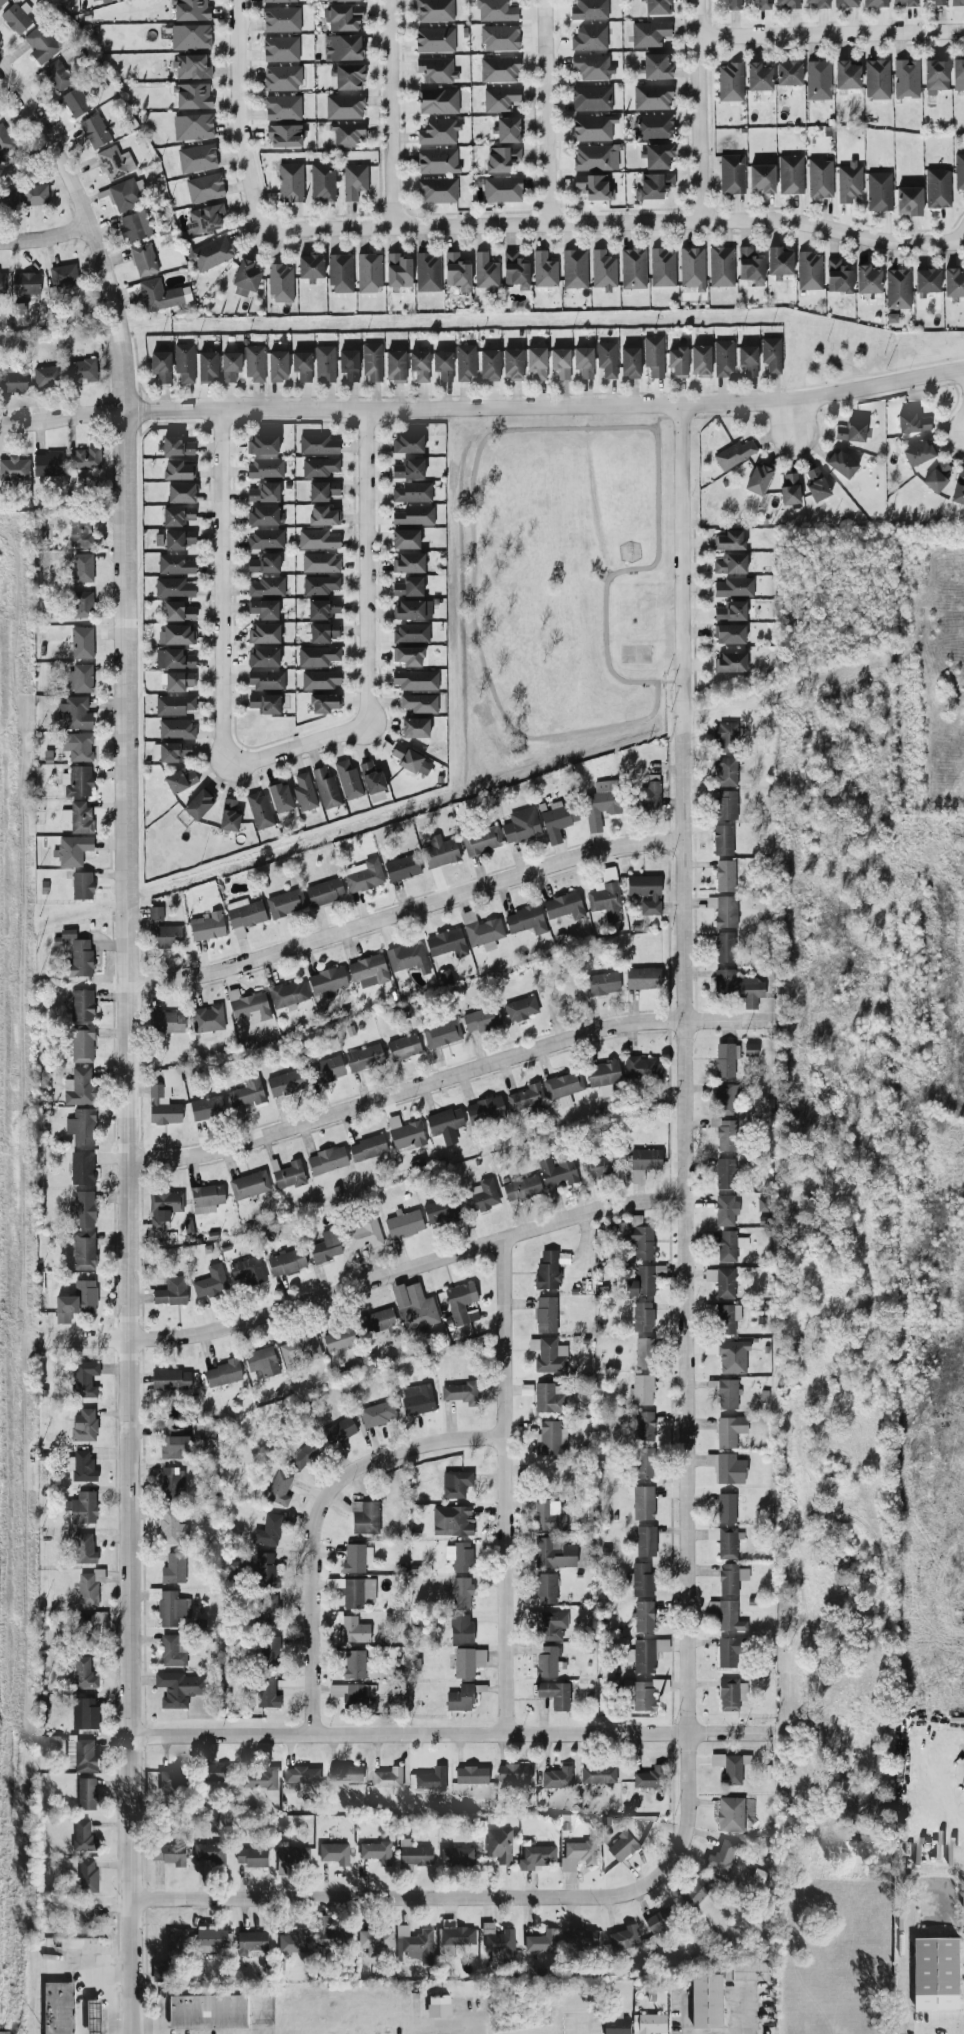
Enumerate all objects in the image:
building: (94, 0)
building: (342, 0)
building: (2, 1)
building: (279, 1)
building: (939, 2)
building: (957, 2)
building: (819, 3)
building: (845, 3)
building: (875, 3)
building: (904, 3)
building: (732, 4)
building: (762, 4)
building: (787, 4)
building: (657, 7)
building: (191, 10)
building: (434, 10)
building: (589, 10)
building: (496, 11)
building: (18, 17)
building: (343, 18)
building: (281, 19)
building: (649, 34)
road: (830, 35)
building: (190, 37)
building: (500, 38)
building: (590, 38)
building: (435, 40)
building: (41, 45)
building: (343, 48)
building: (280, 49)
building: (191, 67)
building: (592, 67)
building: (656, 67)
building: (499, 69)
building: (436, 70)
building: (788, 74)
building: (958, 74)
building: (846, 75)
building: (936, 75)
building: (57, 76)
building: (347, 76)
building: (758, 77)
building: (281, 78)
building: (877, 79)
building: (906, 79)
building: (818, 80)
building: (730, 82)
building: (193, 96)
building: (652, 97)
building: (591, 98)
building: (500, 99)
building: (437, 101)
building: (76, 102)
building: (282, 107)
building: (344, 107)
road: (698, 109)
road: (238, 113)
road: (553, 113)
road: (388, 114)
building: (193, 127)
building: (654, 127)
building: (593, 128)
building: (507, 130)
building: (94, 131)
building: (439, 132)
building: (347, 135)
building: (284, 136)
building: (5, 141)
building: (659, 156)
building: (197, 158)
building: (502, 158)
building: (595, 158)
building: (437, 161)
building: (114, 163)
building: (959, 172)
building: (732, 174)
building: (790, 175)
building: (761, 178)
building: (820, 178)
building: (354, 181)
building: (848, 181)
building: (322, 182)
building: (290, 183)
building: (594, 186)
building: (654, 186)
building: (204, 188)
building: (937, 188)
building: (502, 189)
building: (438, 190)
building: (879, 192)
building: (126, 194)
building: (34, 195)
building: (7, 198)
building: (908, 202)
building: (205, 219)
road: (614, 223)
building: (134, 227)
road: (45, 239)
building: (211, 253)
building: (143, 260)
building: (779, 262)
building: (750, 266)
building: (310, 267)
building: (662, 267)
building: (721, 267)
building: (633, 268)
building: (574, 269)
building: (544, 270)
building: (603, 270)
building: (692, 270)
building: (399, 271)
building: (515, 271)
building: (809, 271)
building: (428, 272)
building: (457, 272)
building: (485, 272)
building: (340, 273)
building: (369, 273)
building: (63, 276)
building: (838, 277)
building: (246, 278)
building: (867, 280)
building: (927, 281)
building: (2, 283)
building: (280, 283)
building: (953, 283)
building: (25, 286)
building: (897, 289)
building: (162, 295)
building: (771, 355)
building: (653, 356)
building: (723, 358)
building: (607, 359)
building: (748, 359)
building: (677, 361)
building: (700, 361)
building: (184, 362)
building: (583, 362)
building: (254, 363)
building: (372, 363)
building: (465, 363)
building: (536, 363)
building: (560, 363)
building: (630, 363)
building: (325, 364)
building: (512, 364)
building: (349, 365)
building: (419, 365)
building: (443, 365)
building: (489, 365)
building: (230, 366)
building: (277, 366)
building: (302, 366)
building: (395, 366)
building: (161, 367)
building: (207, 367)
building: (83, 371)
building: (47, 377)
building: (13, 380)
road: (546, 407)
road: (663, 417)
road: (62, 419)
road: (793, 419)
building: (912, 423)
building: (851, 432)
road: (493, 433)
building: (408, 443)
building: (263, 444)
building: (318, 444)
building: (177, 446)
building: (918, 453)
building: (734, 454)
building: (84, 458)
building: (841, 464)
building: (48, 465)
building: (319, 467)
building: (265, 468)
building: (14, 469)
building: (408, 469)
building: (178, 471)
building: (937, 477)
building: (758, 479)
building: (816, 485)
building: (790, 489)
building: (958, 490)
building: (323, 491)
building: (412, 492)
building: (181, 493)
building: (263, 493)
building: (177, 516)
building: (263, 516)
building: (323, 516)
building: (414, 516)
building: (80, 532)
building: (266, 539)
building: (405, 539)
building: (178, 540)
building: (317, 540)
building: (729, 541)
building: (320, 563)
building: (408, 563)
building: (264, 564)
building: (730, 564)
building: (175, 565)
road: (625, 565)
road: (367, 566)
building: (81, 568)
road: (221, 585)
building: (320, 585)
building: (267, 586)
building: (408, 587)
building: (734, 587)
building: (174, 588)
park: (550, 596)
building: (81, 605)
building: (264, 609)
building: (322, 610)
building: (412, 610)
building: (731, 611)
building: (178, 612)
building: (263, 633)
building: (323, 633)
building: (410, 633)
building: (730, 634)
building: (176, 635)
building: (81, 643)
park: (636, 653)
building: (318, 656)
building: (408, 656)
building: (264, 657)
building: (174, 659)
building: (730, 662)
building: (80, 678)
building: (321, 679)
building: (267, 680)
building: (414, 680)
road: (670, 680)
building: (177, 681)
building: (324, 703)
building: (419, 703)
building: (265, 704)
building: (174, 705)
building: (75, 713)
building: (414, 728)
building: (176, 729)
building: (726, 737)
road: (299, 745)
building: (78, 746)
building: (173, 752)
building: (410, 761)
building: (725, 772)
building: (348, 780)
building: (180, 781)
building: (77, 782)
building: (326, 789)
building: (304, 793)
building: (647, 794)
building: (280, 798)
building: (601, 804)
building: (198, 805)
building: (725, 805)
building: (259, 810)
building: (229, 816)
building: (78, 818)
building: (557, 820)
building: (521, 825)
building: (723, 840)
building: (481, 841)
building: (73, 850)
building: (440, 852)
building: (402, 868)
building: (363, 876)
building: (725, 876)
building: (82, 885)
building: (324, 893)
building: (646, 893)
building: (285, 903)
building: (564, 906)
building: (724, 911)
building: (155, 913)
road: (405, 913)
building: (244, 915)
building: (525, 920)
building: (207, 926)
building: (481, 931)
building: (165, 936)
building: (446, 943)
building: (725, 947)
building: (77, 956)
building: (408, 958)
building: (368, 971)
building: (643, 978)
building: (327, 981)
building: (603, 984)
building: (738, 987)
building: (288, 994)
building: (83, 1005)
building: (248, 1006)
building: (521, 1009)
building: (481, 1019)
building: (166, 1022)
road: (128, 1034)
building: (442, 1034)
building: (82, 1044)
building: (403, 1047)
building: (750, 1050)
building: (364, 1058)
building: (726, 1059)
building: (642, 1068)
building: (325, 1070)
building: (603, 1076)
building: (171, 1077)
road: (449, 1077)
building: (285, 1083)
building: (79, 1087)
building: (563, 1087)
building: (246, 1093)
building: (528, 1099)
building: (724, 1099)
building: (162, 1107)
building: (207, 1108)
building: (484, 1109)
building: (445, 1125)
building: (82, 1127)
building: (405, 1133)
building: (726, 1135)
building: (367, 1148)
road: (685, 1154)
building: (646, 1159)
building: (327, 1160)
building: (600, 1166)
building: (82, 1168)
building: (557, 1170)
building: (725, 1174)
building: (288, 1175)
building: (637, 1176)
building: (249, 1185)
building: (521, 1188)
building: (480, 1196)
building: (206, 1198)
building: (163, 1208)
building: (83, 1209)
building: (725, 1210)
building: (441, 1211)
building: (404, 1224)
building: (364, 1234)
building: (642, 1242)
building: (727, 1246)
building: (326, 1247)
building: (83, 1251)
building: (286, 1262)
building: (248, 1271)
building: (547, 1271)
building: (722, 1282)
building: (211, 1283)
road: (366, 1283)
building: (641, 1283)
building: (171, 1291)
building: (76, 1302)
building: (460, 1302)
building: (414, 1307)
building: (546, 1315)
building: (642, 1317)
building: (727, 1318)
building: (379, 1322)
building: (339, 1339)
building: (299, 1350)
building: (643, 1353)
building: (548, 1355)
building: (732, 1357)
building: (262, 1362)
building: (223, 1373)
building: (84, 1379)
building: (171, 1380)
building: (641, 1389)
building: (459, 1393)
building: (727, 1394)
building: (548, 1398)
building: (417, 1399)
building: (378, 1414)
building: (84, 1425)
building: (644, 1426)
building: (730, 1431)
building: (339, 1433)
building: (550, 1437)
building: (174, 1447)
building: (303, 1455)
building: (643, 1463)
building: (83, 1466)
building: (727, 1468)
building: (456, 1484)
building: (171, 1485)
road: (506, 1486)
building: (278, 1488)
building: (642, 1502)
building: (82, 1508)
building: (726, 1508)
building: (548, 1516)
road: (318, 1517)
building: (364, 1518)
building: (452, 1521)
building: (172, 1528)
building: (268, 1531)
building: (645, 1541)
building: (724, 1542)
building: (84, 1549)
building: (554, 1553)
building: (458, 1556)
building: (356, 1558)
building: (258, 1568)
building: (173, 1569)
building: (731, 1578)
building: (641, 1580)
building: (89, 1588)
building: (547, 1588)
building: (461, 1592)
building: (353, 1593)
building: (170, 1607)
building: (269, 1611)
building: (643, 1616)
building: (729, 1617)
building: (552, 1625)
building: (87, 1629)
building: (461, 1629)
building: (354, 1630)
building: (268, 1649)
building: (173, 1650)
building: (728, 1652)
building: (646, 1655)
building: (467, 1662)
building: (548, 1662)
building: (353, 1664)
building: (83, 1674)
building: (180, 1689)
building: (351, 1693)
building: (267, 1694)
building: (554, 1694)
building: (731, 1694)
building: (644, 1695)
building: (460, 1698)
building: (84, 1713)
road: (448, 1735)
building: (86, 1758)
building: (729, 1768)
building: (513, 1773)
building: (219, 1774)
building: (344, 1774)
building: (301, 1775)
building: (471, 1775)
building: (598, 1775)
building: (557, 1778)
building: (649, 1778)
road: (935, 1778)
building: (387, 1779)
building: (263, 1780)
building: (174, 1782)
building: (427, 1782)
building: (88, 1796)
building: (730, 1815)
building: (85, 1839)
building: (500, 1847)
building: (623, 1849)
building: (377, 1854)
building: (212, 1855)
building: (336, 1855)
building: (171, 1856)
building: (415, 1856)
building: (578, 1857)
building: (458, 1858)
building: (723, 1858)
building: (253, 1859)
building: (291, 1859)
building: (538, 1859)
building: (89, 1878)
building: (698, 1893)
road: (389, 1899)
building: (83, 1921)
building: (665, 1921)
building: (458, 1938)
building: (331, 1939)
building: (211, 1940)
building: (626, 1940)
building: (583, 1941)
building: (377, 1942)
building: (252, 1944)
building: (295, 1944)
building: (543, 1944)
building: (500, 1946)
building: (416, 1947)
building: (746, 1973)
building: (161, 1975)
building: (937, 1976)
building: (708, 2003)
building: (440, 2008)
building: (60, 2009)
building: (209, 2014)
building: (95, 2018)
building: (650, 2025)
road: (146, 2029)
road: (942, 2030)

